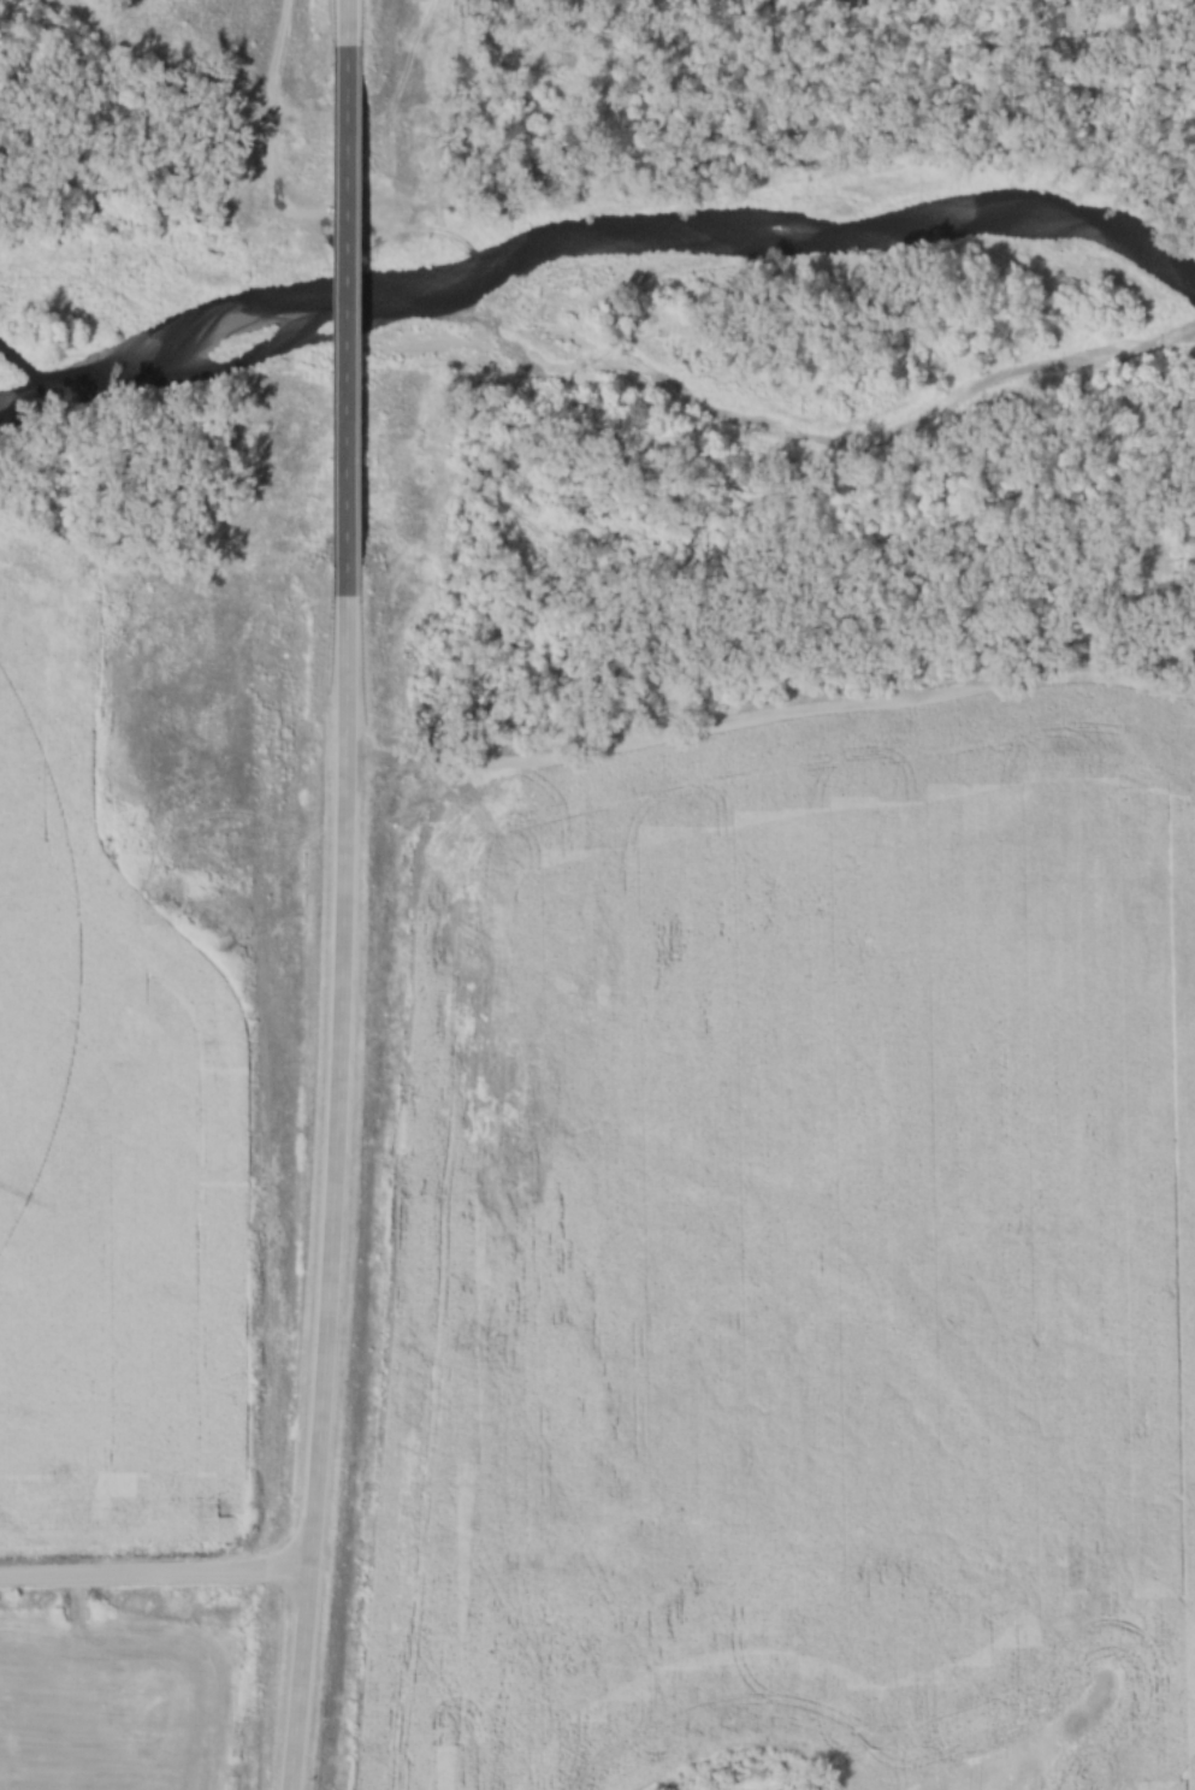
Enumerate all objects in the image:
road: (338, 29)
river: (594, 241)
road: (341, 301)
river: (781, 426)
road: (331, 1168)
road: (152, 1575)

